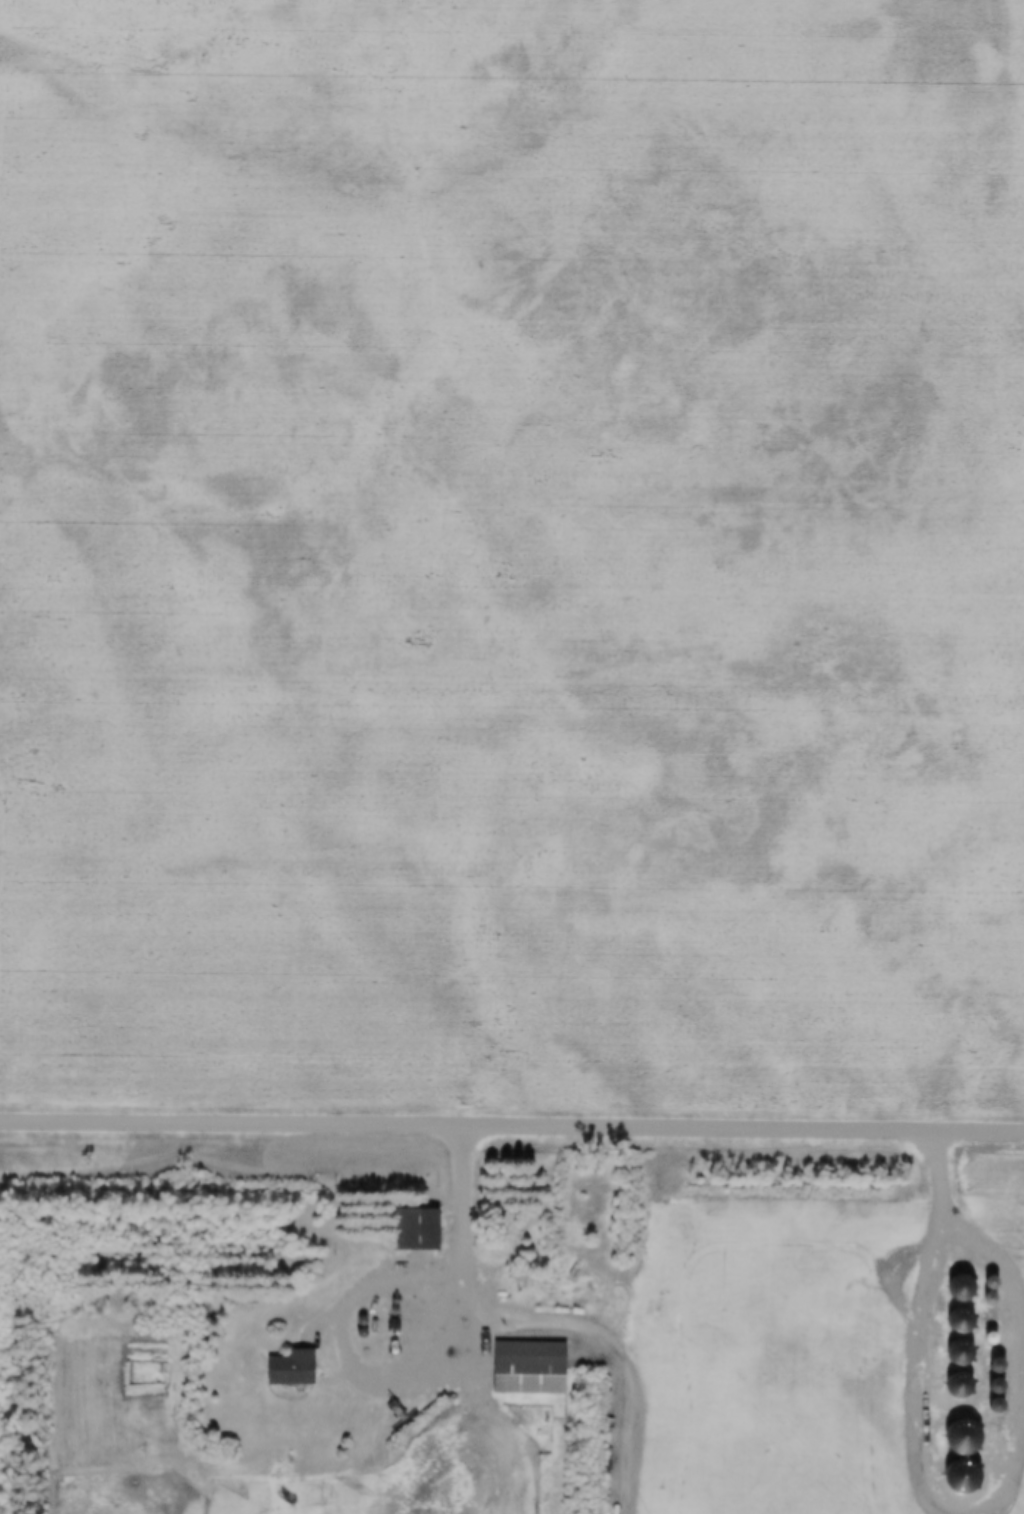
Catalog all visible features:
road: (512, 1127)
building: (412, 1230)
building: (952, 1289)
building: (952, 1322)
building: (284, 1368)
building: (523, 1368)
road: (403, 1385)
road: (363, 1454)

